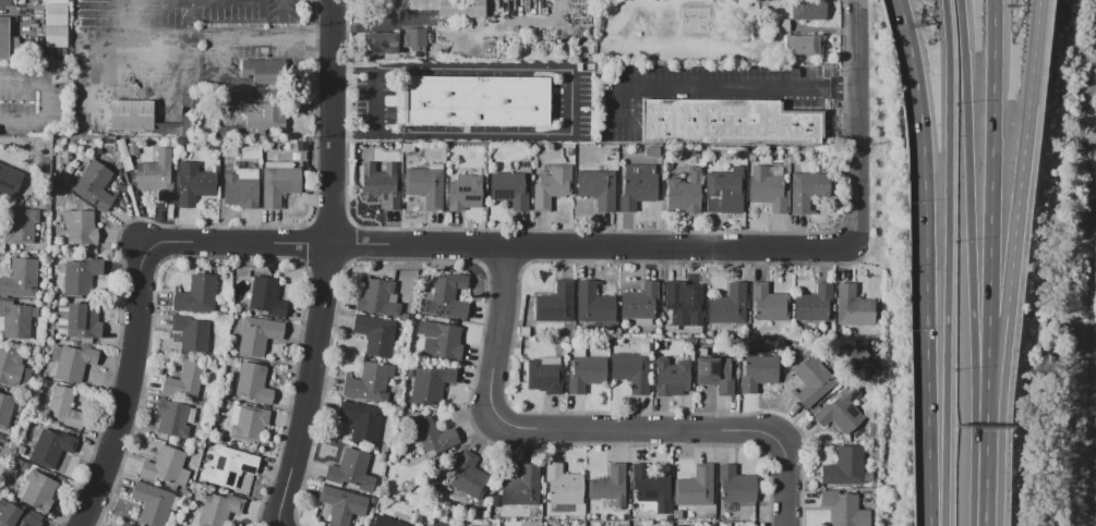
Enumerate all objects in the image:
building: (5, 2)
building: (423, 4)
road: (281, 8)
building: (461, 9)
road: (17, 13)
building: (810, 14)
building: (57, 15)
building: (56, 36)
building: (4, 38)
road: (267, 38)
building: (398, 41)
building: (805, 46)
building: (266, 72)
road: (738, 87)
road: (372, 100)
road: (574, 100)
building: (479, 101)
road: (49, 103)
road: (619, 103)
building: (184, 114)
building: (133, 115)
building: (264, 119)
road: (858, 120)
road: (333, 122)
building: (731, 122)
building: (133, 145)
building: (122, 147)
building: (613, 149)
building: (622, 149)
building: (569, 152)
building: (622, 157)
building: (751, 157)
building: (571, 160)
building: (157, 174)
building: (10, 180)
building: (280, 182)
building: (194, 184)
building: (383, 185)
building: (425, 185)
building: (638, 185)
building: (94, 186)
building: (242, 187)
building: (552, 187)
building: (768, 187)
building: (598, 188)
building: (509, 189)
building: (722, 189)
building: (807, 191)
building: (465, 192)
building: (685, 192)
road: (999, 211)
road: (1025, 212)
building: (21, 225)
building: (80, 227)
road: (978, 234)
road: (219, 243)
road: (591, 247)
road: (932, 261)
road: (954, 262)
building: (82, 276)
building: (21, 279)
road: (1094, 291)
building: (196, 295)
building: (267, 296)
building: (445, 296)
building: (378, 297)
building: (555, 303)
building: (640, 303)
building: (593, 304)
building: (769, 304)
building: (815, 304)
building: (728, 305)
building: (682, 306)
building: (854, 307)
building: (16, 319)
building: (83, 320)
building: (525, 331)
building: (49, 332)
building: (192, 333)
building: (376, 334)
building: (257, 335)
building: (441, 339)
building: (613, 342)
building: (72, 362)
building: (13, 369)
building: (631, 370)
building: (586, 371)
building: (758, 371)
building: (715, 374)
building: (544, 375)
building: (671, 377)
building: (184, 381)
building: (811, 381)
building: (366, 382)
building: (253, 383)
road: (309, 386)
building: (429, 386)
building: (0, 389)
road: (125, 401)
building: (64, 407)
building: (5, 408)
building: (845, 409)
building: (172, 418)
building: (362, 420)
building: (250, 424)
road: (552, 428)
building: (433, 436)
building: (51, 447)
building: (384, 447)
road: (987, 447)
building: (21, 449)
building: (382, 457)
building: (166, 466)
building: (229, 466)
building: (846, 467)
building: (351, 470)
building: (469, 476)
road: (784, 481)
building: (564, 482)
building: (736, 485)
building: (525, 486)
building: (610, 486)
building: (695, 486)
building: (652, 488)
building: (37, 490)
road: (985, 498)
building: (153, 503)
building: (342, 504)
building: (219, 509)
building: (845, 509)
building: (677, 514)
building: (15, 515)
building: (669, 518)
building: (386, 521)
building: (125, 524)

